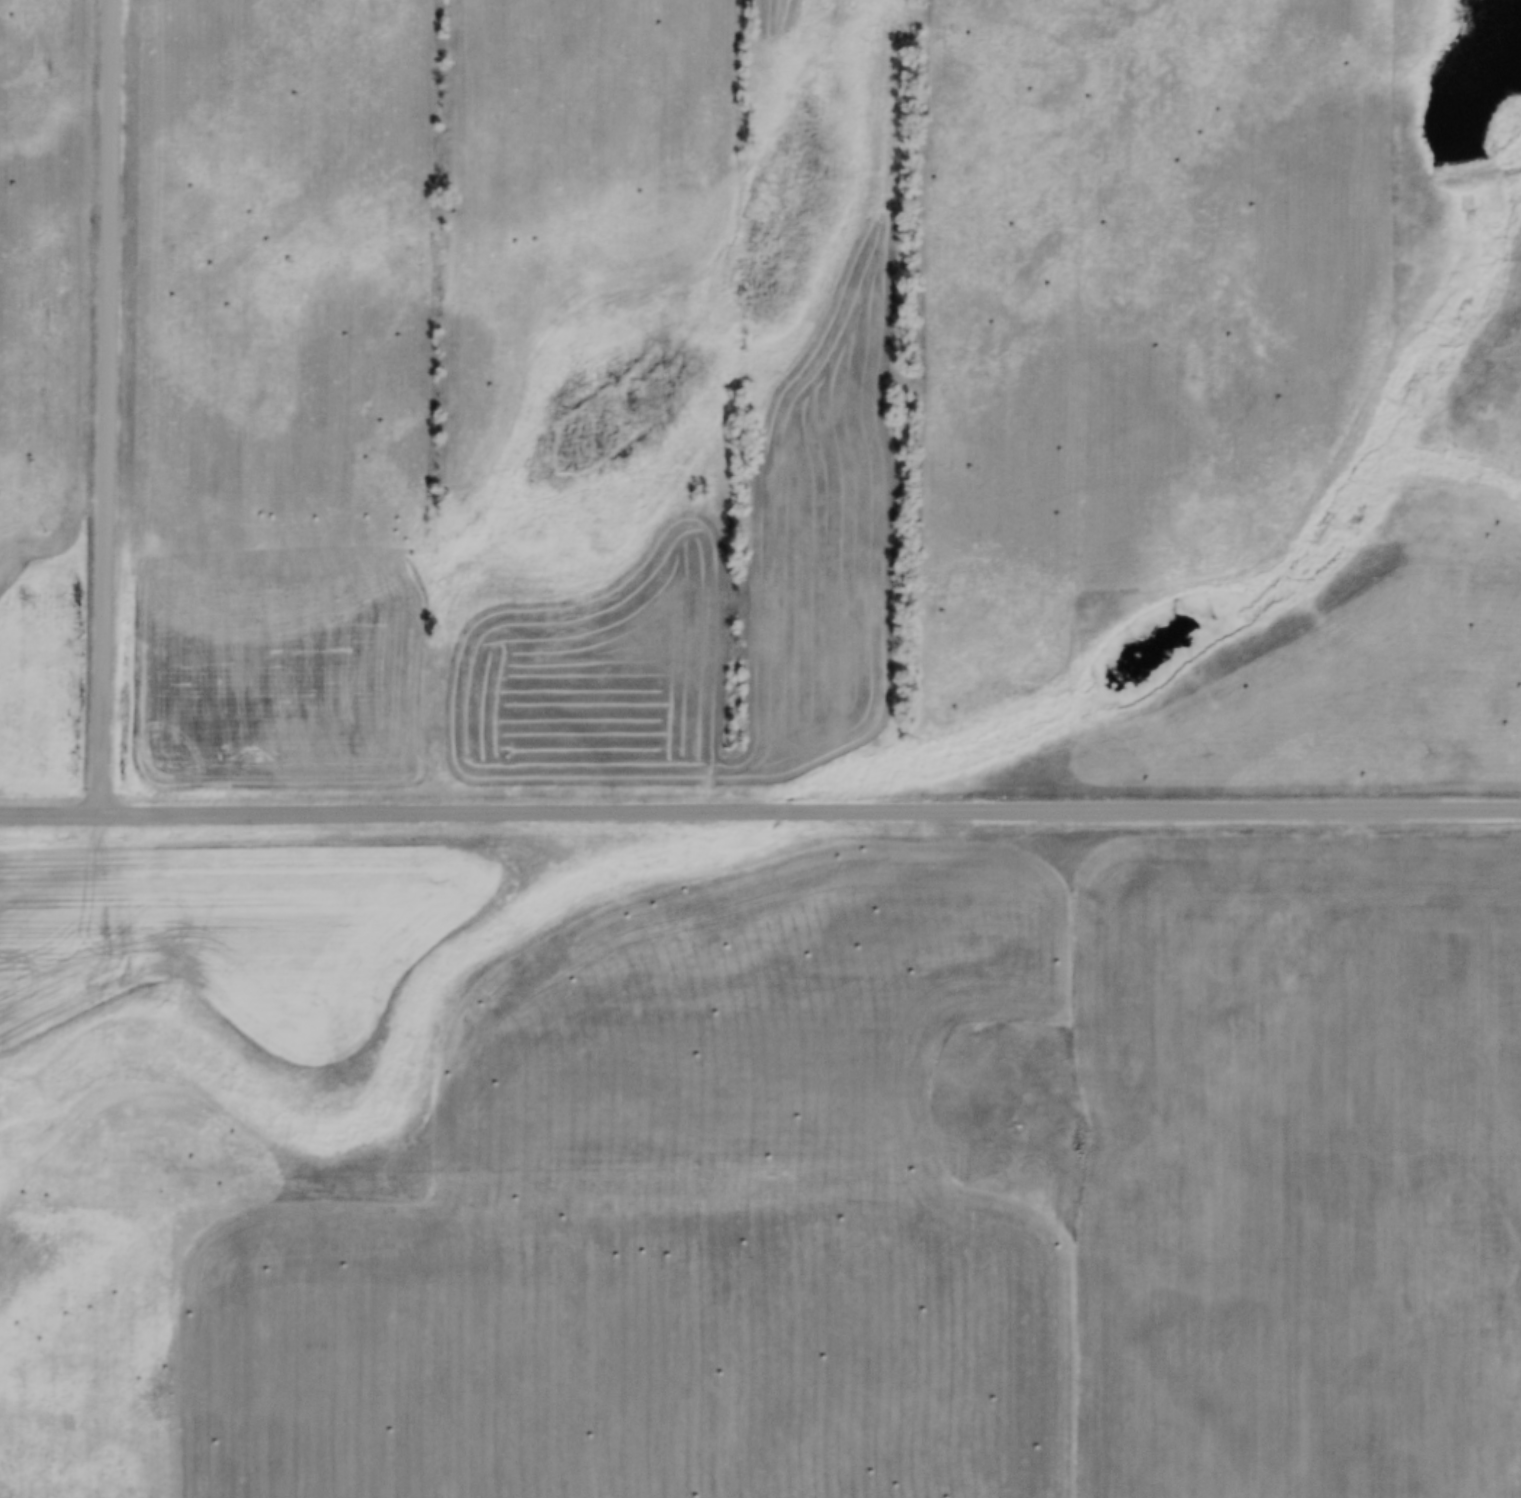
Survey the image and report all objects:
road: (113, 405)
road: (760, 810)

